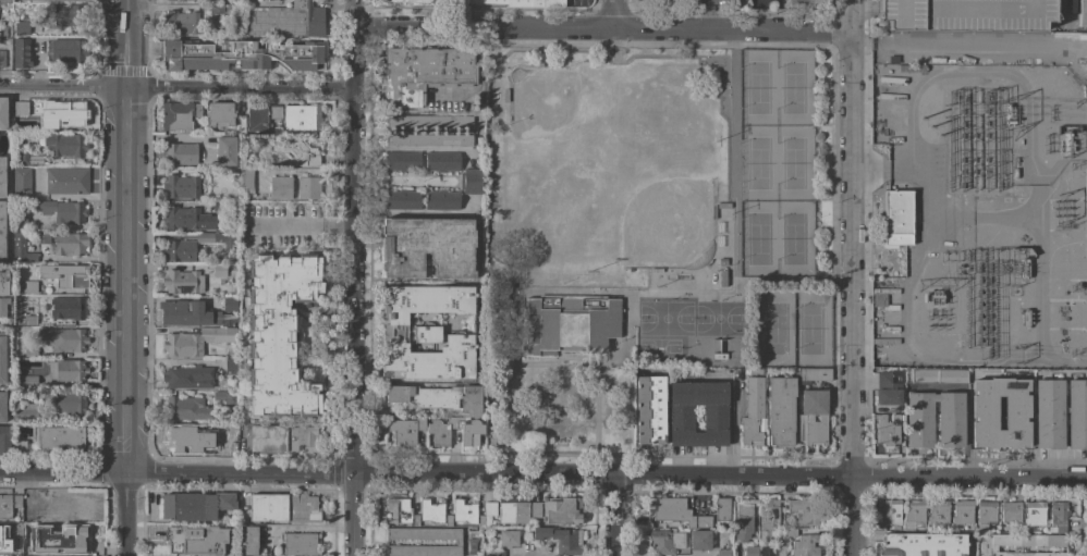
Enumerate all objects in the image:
building: (64, 0)
building: (272, 0)
building: (674, 0)
parking lot: (709, 1)
building: (804, 1)
building: (405, 2)
building: (523, 2)
parking lot: (754, 2)
building: (5, 5)
road: (864, 7)
building: (222, 9)
building: (70, 13)
road: (614, 14)
road: (709, 14)
road: (755, 14)
building: (965, 14)
parking garage: (965, 14)
building: (1082, 15)
building: (285, 16)
building: (181, 17)
road: (1065, 24)
road: (600, 27)
building: (182, 28)
building: (21, 29)
building: (284, 29)
building: (2, 32)
road: (968, 46)
building: (68, 50)
road: (497, 52)
building: (21, 53)
building: (241, 54)
road: (614, 55)
building: (2, 59)
road: (493, 62)
building: (423, 74)
road: (174, 86)
park: (795, 87)
park: (760, 88)
building: (22, 108)
building: (197, 110)
building: (276, 111)
building: (3, 112)
building: (63, 114)
building: (220, 114)
building: (175, 115)
building: (302, 118)
building: (257, 119)
building: (427, 121)
building: (242, 124)
building: (16, 125)
park: (566, 126)
building: (429, 139)
building: (65, 145)
building: (224, 151)
building: (296, 151)
building: (181, 153)
building: (23, 157)
building: (402, 161)
building: (441, 161)
park: (761, 164)
park: (796, 164)
building: (2, 176)
building: (245, 180)
building: (66, 181)
building: (471, 181)
building: (21, 182)
building: (181, 186)
building: (279, 187)
building: (307, 187)
building: (402, 199)
building: (441, 199)
park: (652, 209)
building: (62, 211)
power substation: (977, 218)
building: (181, 219)
building: (896, 219)
building: (20, 222)
road: (301, 225)
building: (2, 231)
park: (651, 231)
building: (42, 237)
building: (224, 238)
park: (761, 239)
park: (796, 239)
building: (69, 244)
building: (21, 247)
building: (427, 247)
building: (179, 250)
building: (218, 270)
building: (65, 274)
road: (124, 277)
road: (353, 277)
building: (722, 277)
road: (851, 277)
building: (182, 282)
building: (3, 283)
road: (795, 283)
building: (25, 286)
road: (680, 295)
building: (879, 299)
building: (230, 305)
building: (3, 307)
building: (69, 308)
building: (186, 313)
park: (719, 318)
building: (228, 319)
building: (29, 320)
building: (569, 323)
park: (778, 329)
park: (814, 329)
building: (426, 332)
building: (279, 333)
building: (69, 339)
building: (195, 341)
park: (662, 346)
building: (30, 351)
building: (3, 360)
road: (595, 361)
road: (560, 363)
building: (230, 367)
building: (66, 370)
building: (756, 371)
building: (816, 374)
building: (188, 376)
building: (924, 376)
building: (952, 376)
building: (27, 381)
building: (889, 386)
building: (225, 397)
building: (438, 397)
building: (68, 403)
building: (2, 407)
building: (984, 407)
building: (186, 408)
building: (650, 410)
building: (780, 410)
building: (752, 411)
building: (1049, 413)
building: (1076, 413)
building: (808, 418)
building: (715, 419)
building: (21, 422)
building: (950, 424)
building: (405, 430)
building: (441, 431)
building: (468, 431)
building: (887, 431)
building: (63, 436)
building: (181, 436)
building: (3, 440)
building: (210, 440)
building: (283, 440)
road: (595, 474)
road: (543, 475)
building: (16, 501)
parking lot: (699, 503)
building: (5, 506)
building: (64, 506)
building: (196, 506)
building: (283, 508)
building: (535, 509)
building: (563, 509)
building: (721, 509)
building: (399, 510)
building: (431, 511)
building: (464, 511)
building: (675, 511)
building: (804, 511)
building: (891, 511)
building: (962, 511)
building: (1011, 511)
building: (513, 512)
building: (938, 512)
building: (914, 514)
building: (986, 514)
building: (1034, 514)
building: (28, 515)
building: (488, 516)
road: (615, 516)
building: (1058, 517)
building: (743, 519)
building: (768, 519)
building: (415, 520)
building: (448, 520)
building: (791, 533)
building: (62, 535)
building: (506, 538)
building: (248, 540)
building: (561, 540)
building: (194, 541)
building: (699, 541)
building: (457, 542)
building: (664, 542)
building: (1026, 543)
building: (300, 544)
building: (924, 544)
building: (805, 545)
building: (29, 546)
building: (750, 551)
building: (770, 551)
building: (11, 552)
building: (493, 553)
building: (723, 553)
road: (535, 555)

